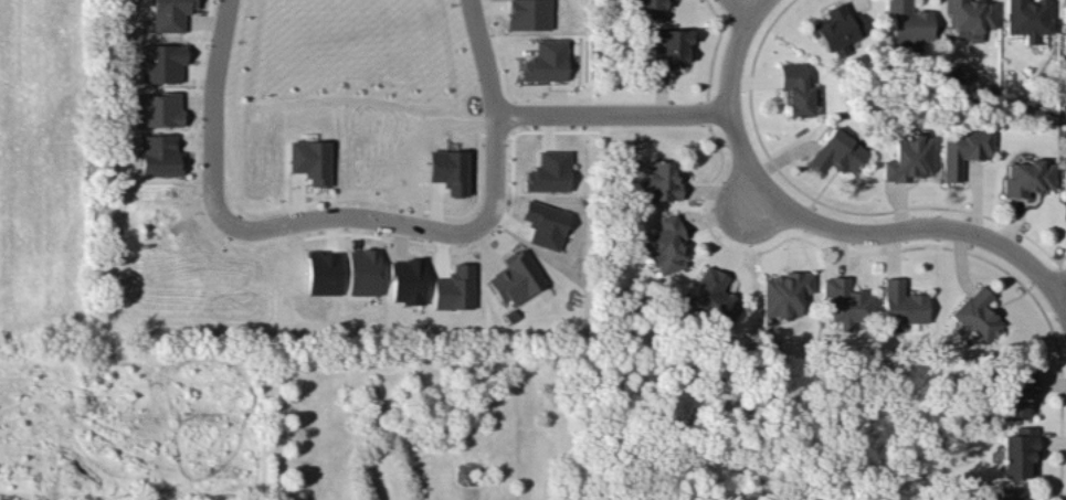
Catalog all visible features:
building: (651, 8)
building: (172, 14)
building: (529, 14)
building: (969, 17)
building: (1028, 18)
building: (908, 21)
building: (837, 29)
building: (671, 46)
building: (161, 62)
building: (547, 62)
building: (796, 91)
building: (158, 109)
road: (494, 110)
road: (613, 113)
road: (213, 115)
building: (964, 149)
building: (837, 152)
building: (160, 155)
building: (909, 159)
building: (310, 160)
building: (450, 170)
building: (549, 171)
building: (1027, 178)
building: (1065, 180)
building: (659, 182)
road: (358, 215)
building: (546, 224)
road: (827, 224)
building: (667, 245)
building: (363, 272)
building: (324, 273)
building: (516, 277)
building: (408, 280)
road: (1059, 283)
building: (454, 288)
building: (785, 292)
building: (714, 297)
building: (847, 301)
building: (977, 316)
building: (1018, 390)
building: (1018, 451)
building: (1016, 493)

